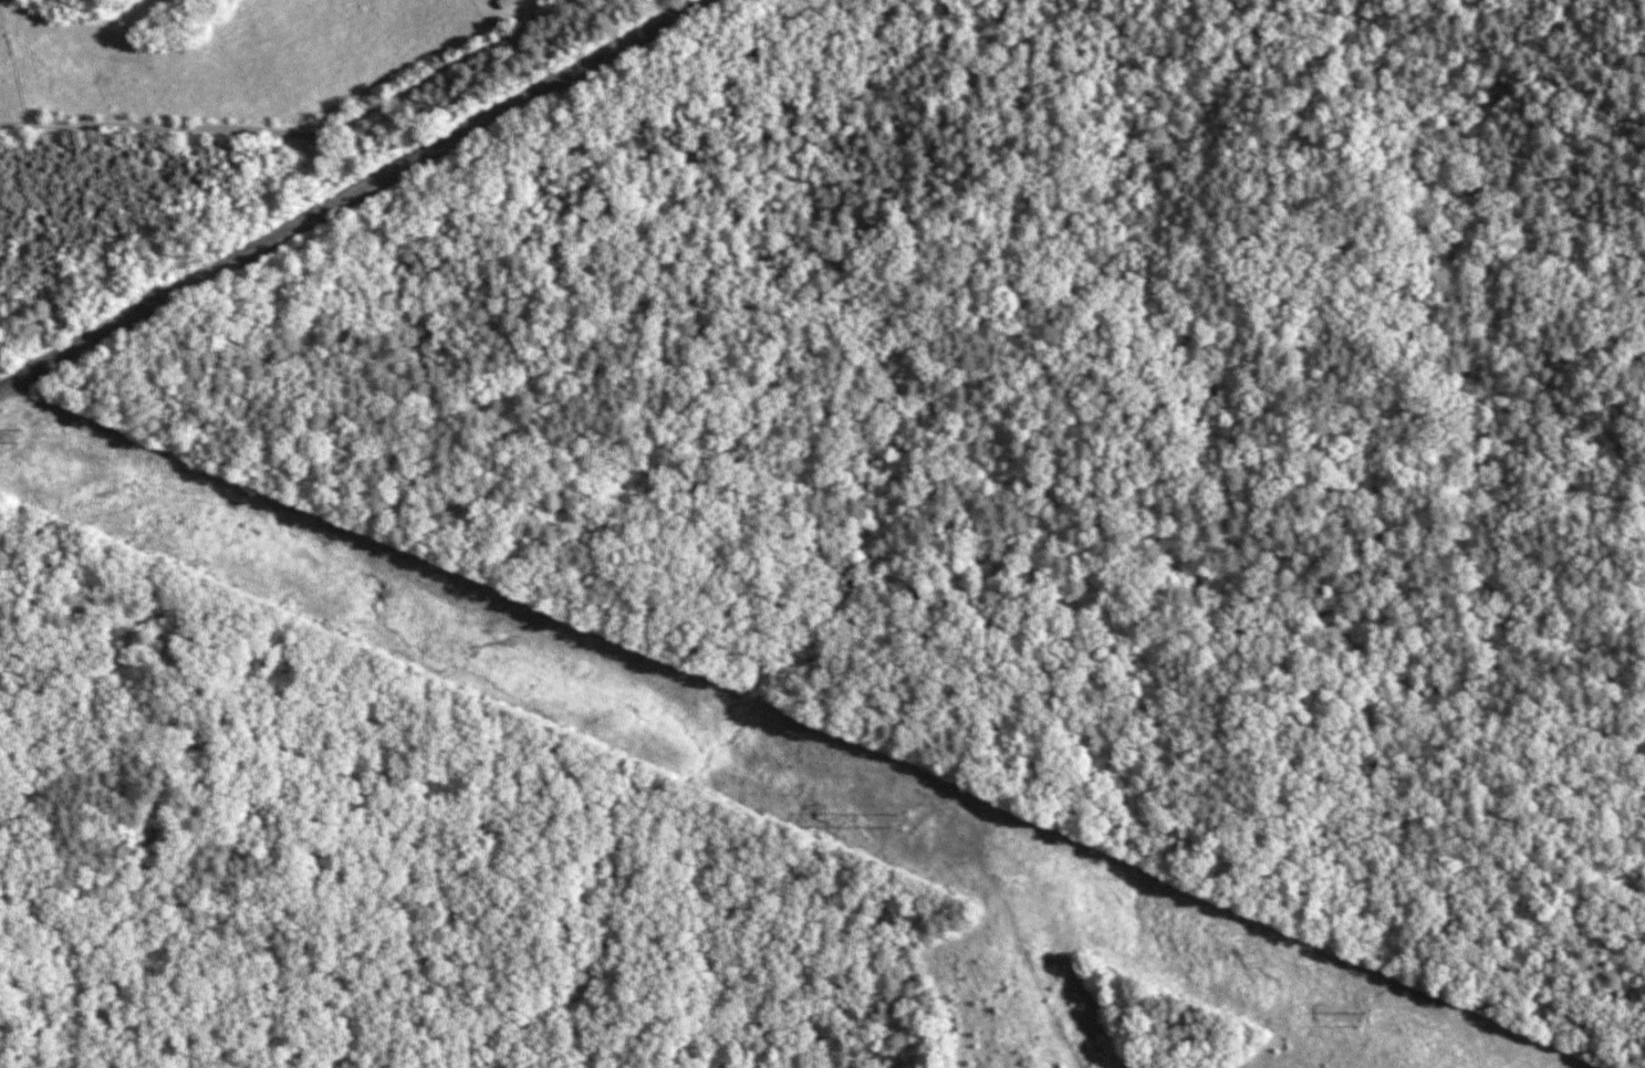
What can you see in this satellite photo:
railway: (336, 186)
power tower: (13, 433)
power tower: (904, 819)
power tower: (1357, 1014)

